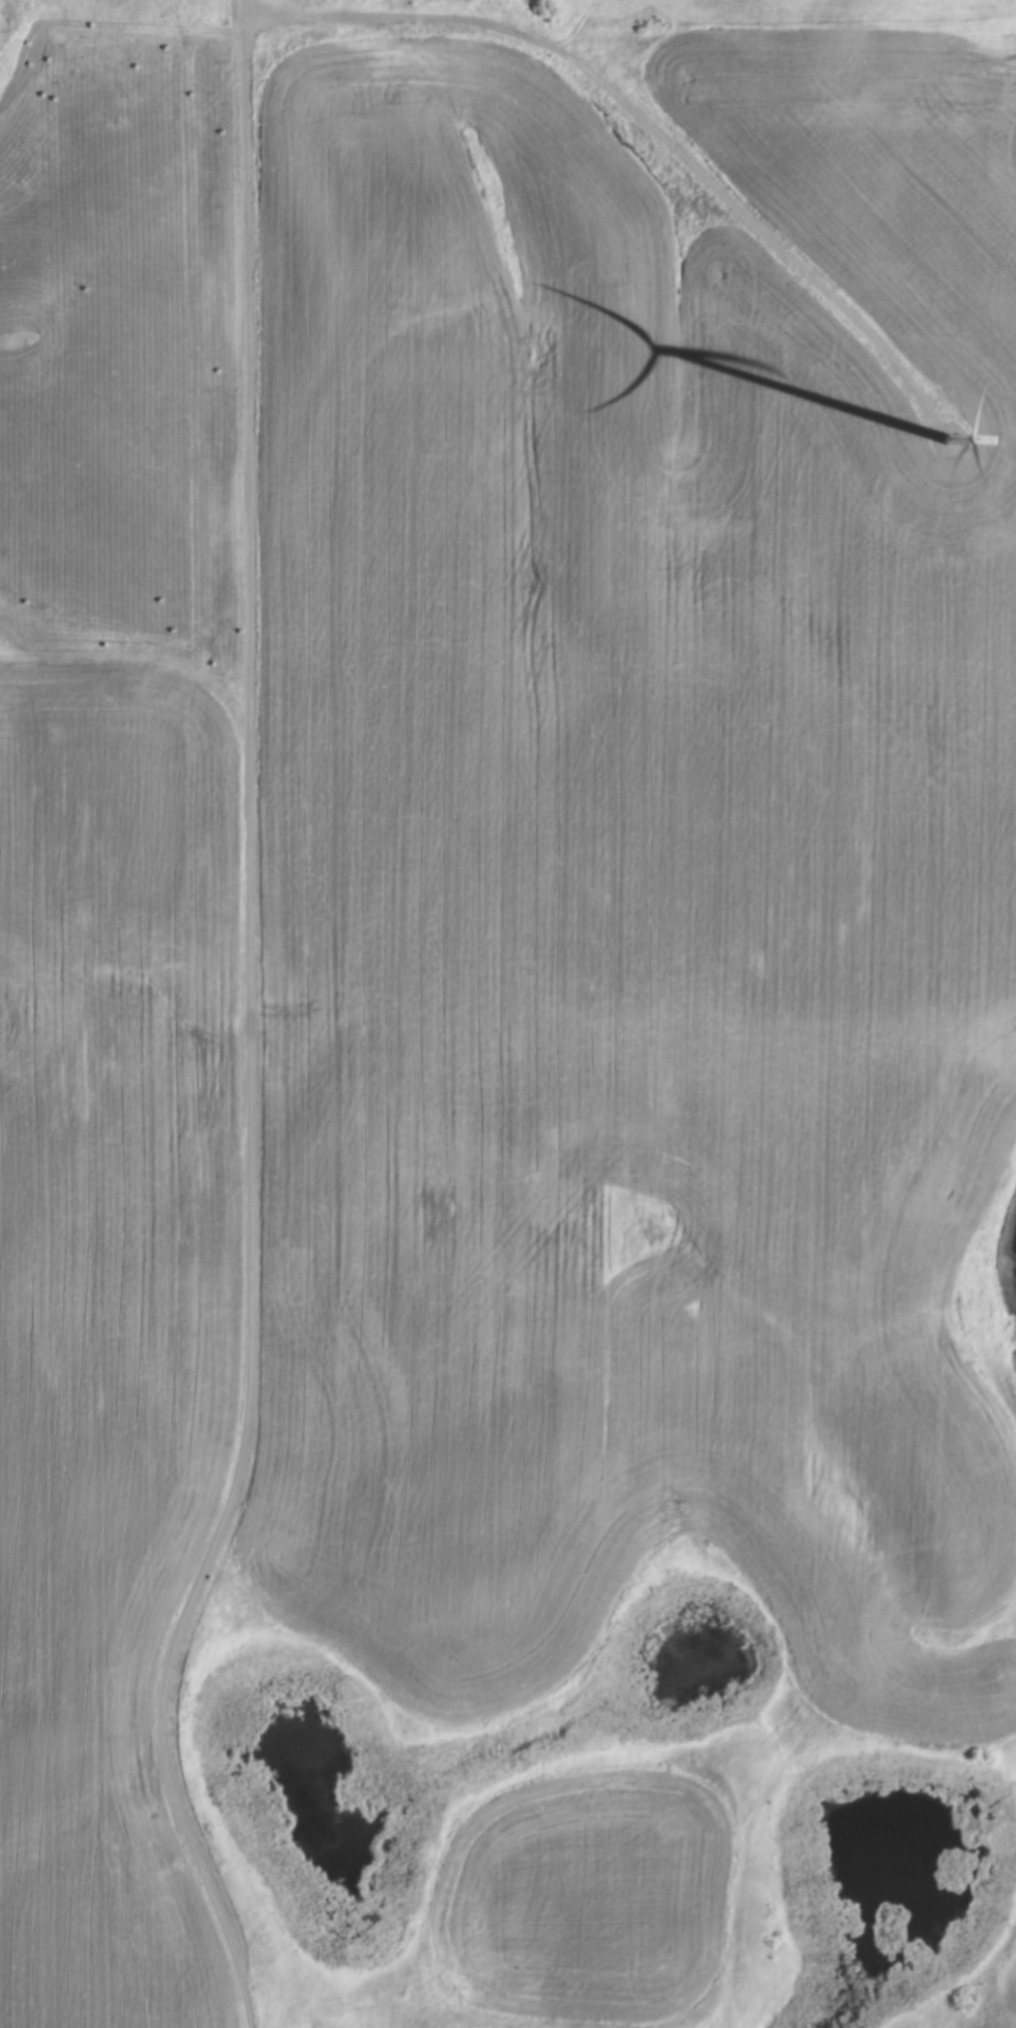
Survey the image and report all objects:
wind turbine: (951, 441)
road: (134, 651)
road: (246, 1029)

